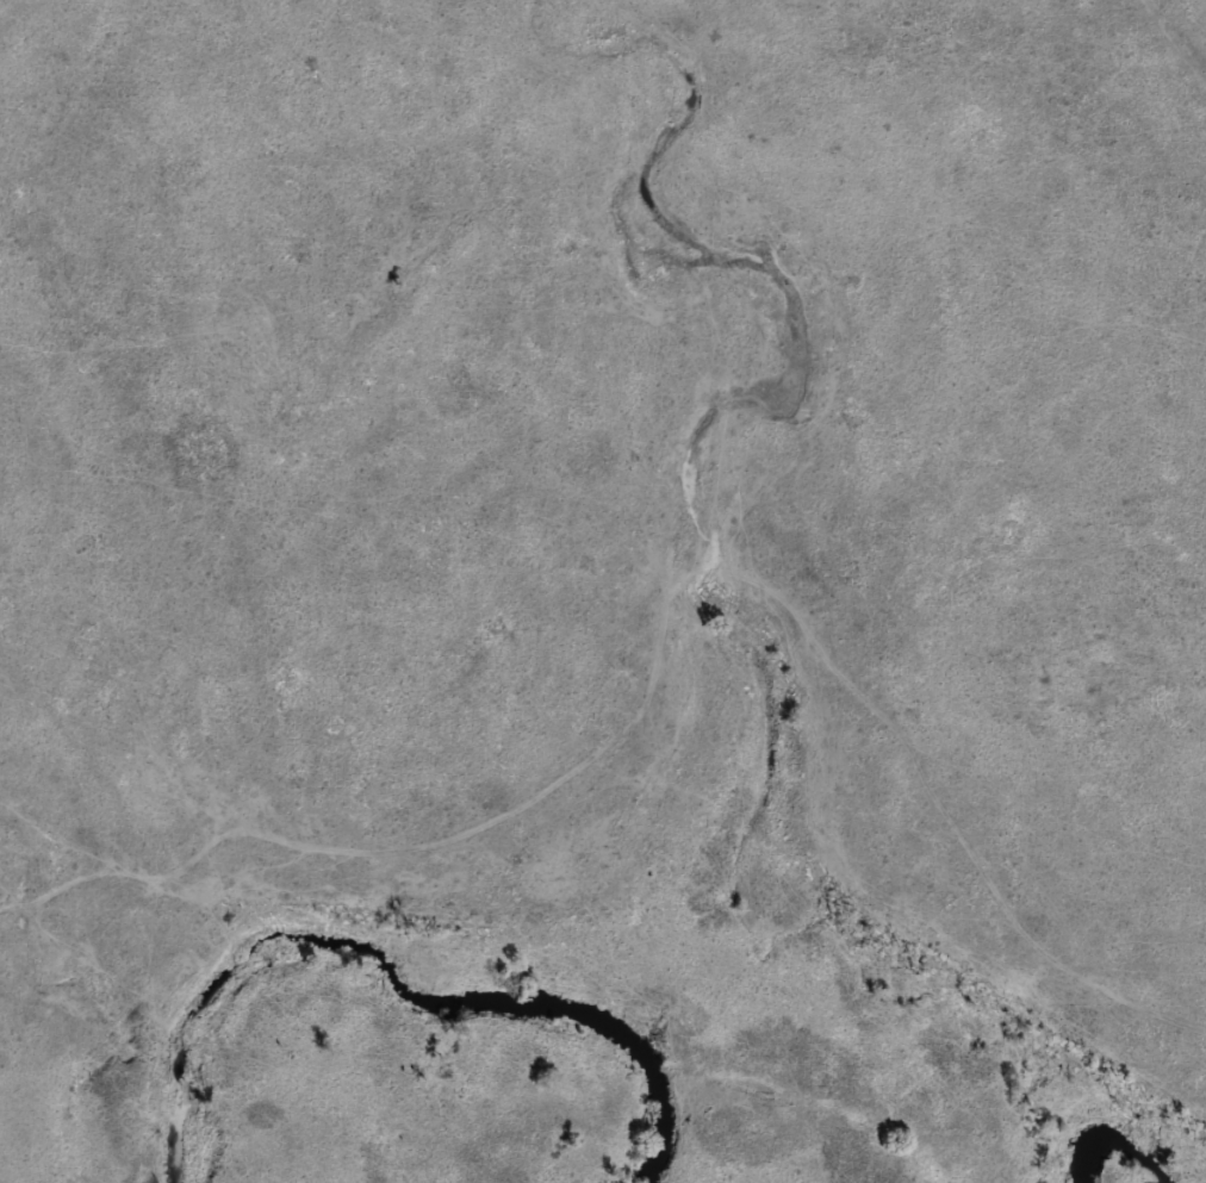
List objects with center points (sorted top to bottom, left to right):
road: (1162, 61)

